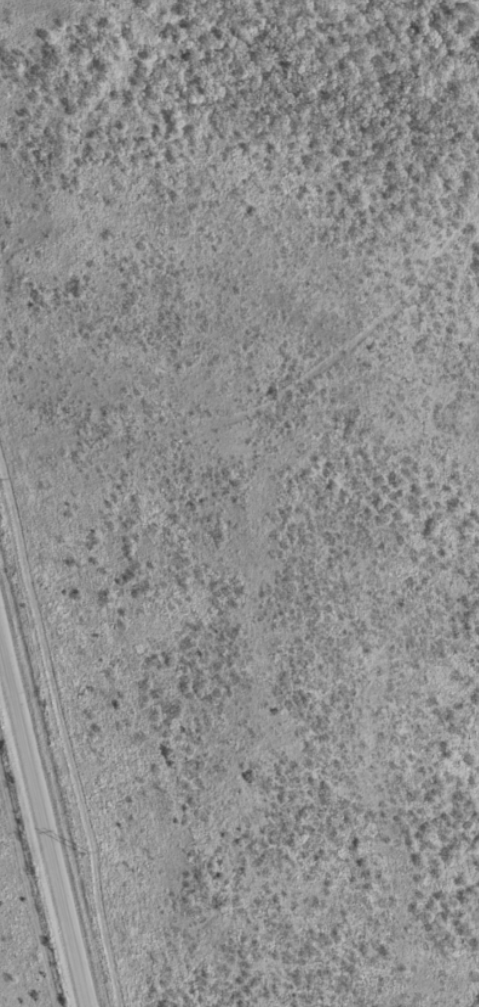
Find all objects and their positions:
road: (26, 898)

